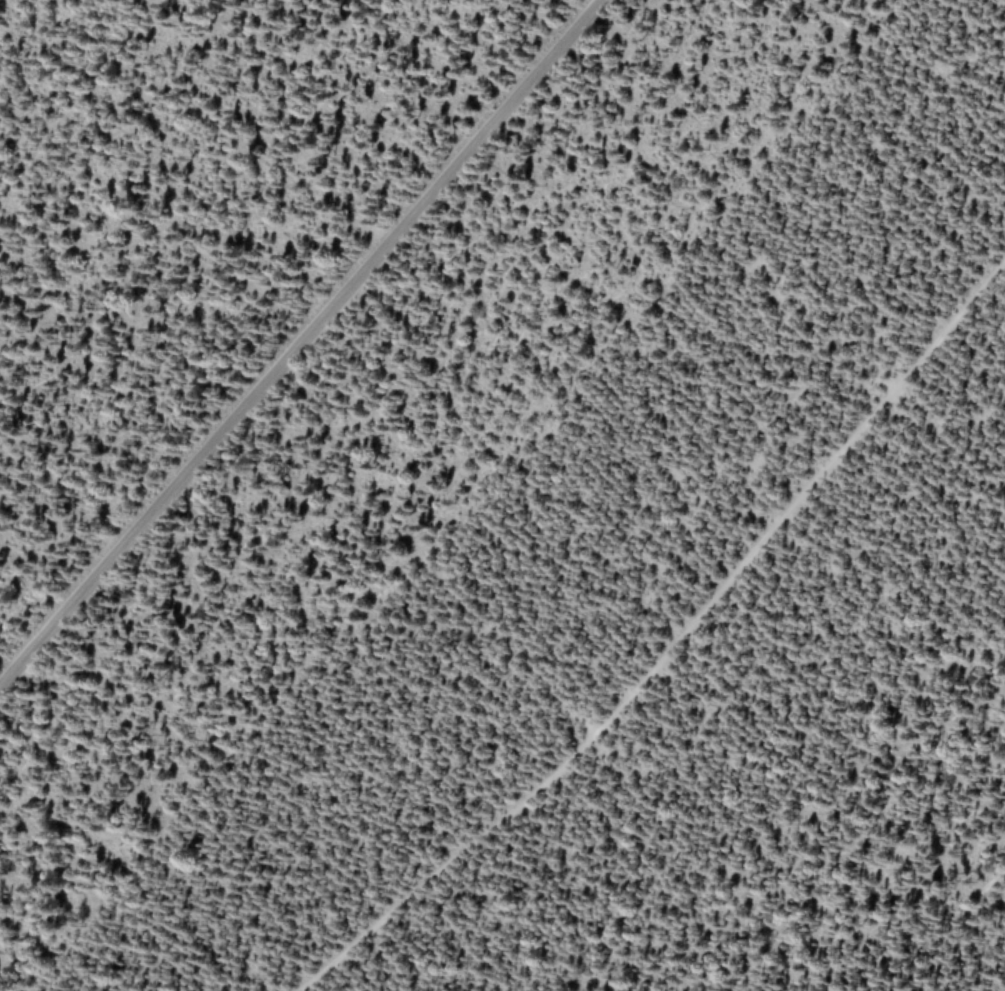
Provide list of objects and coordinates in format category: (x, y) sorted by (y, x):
road: (300, 343)
road: (671, 646)

